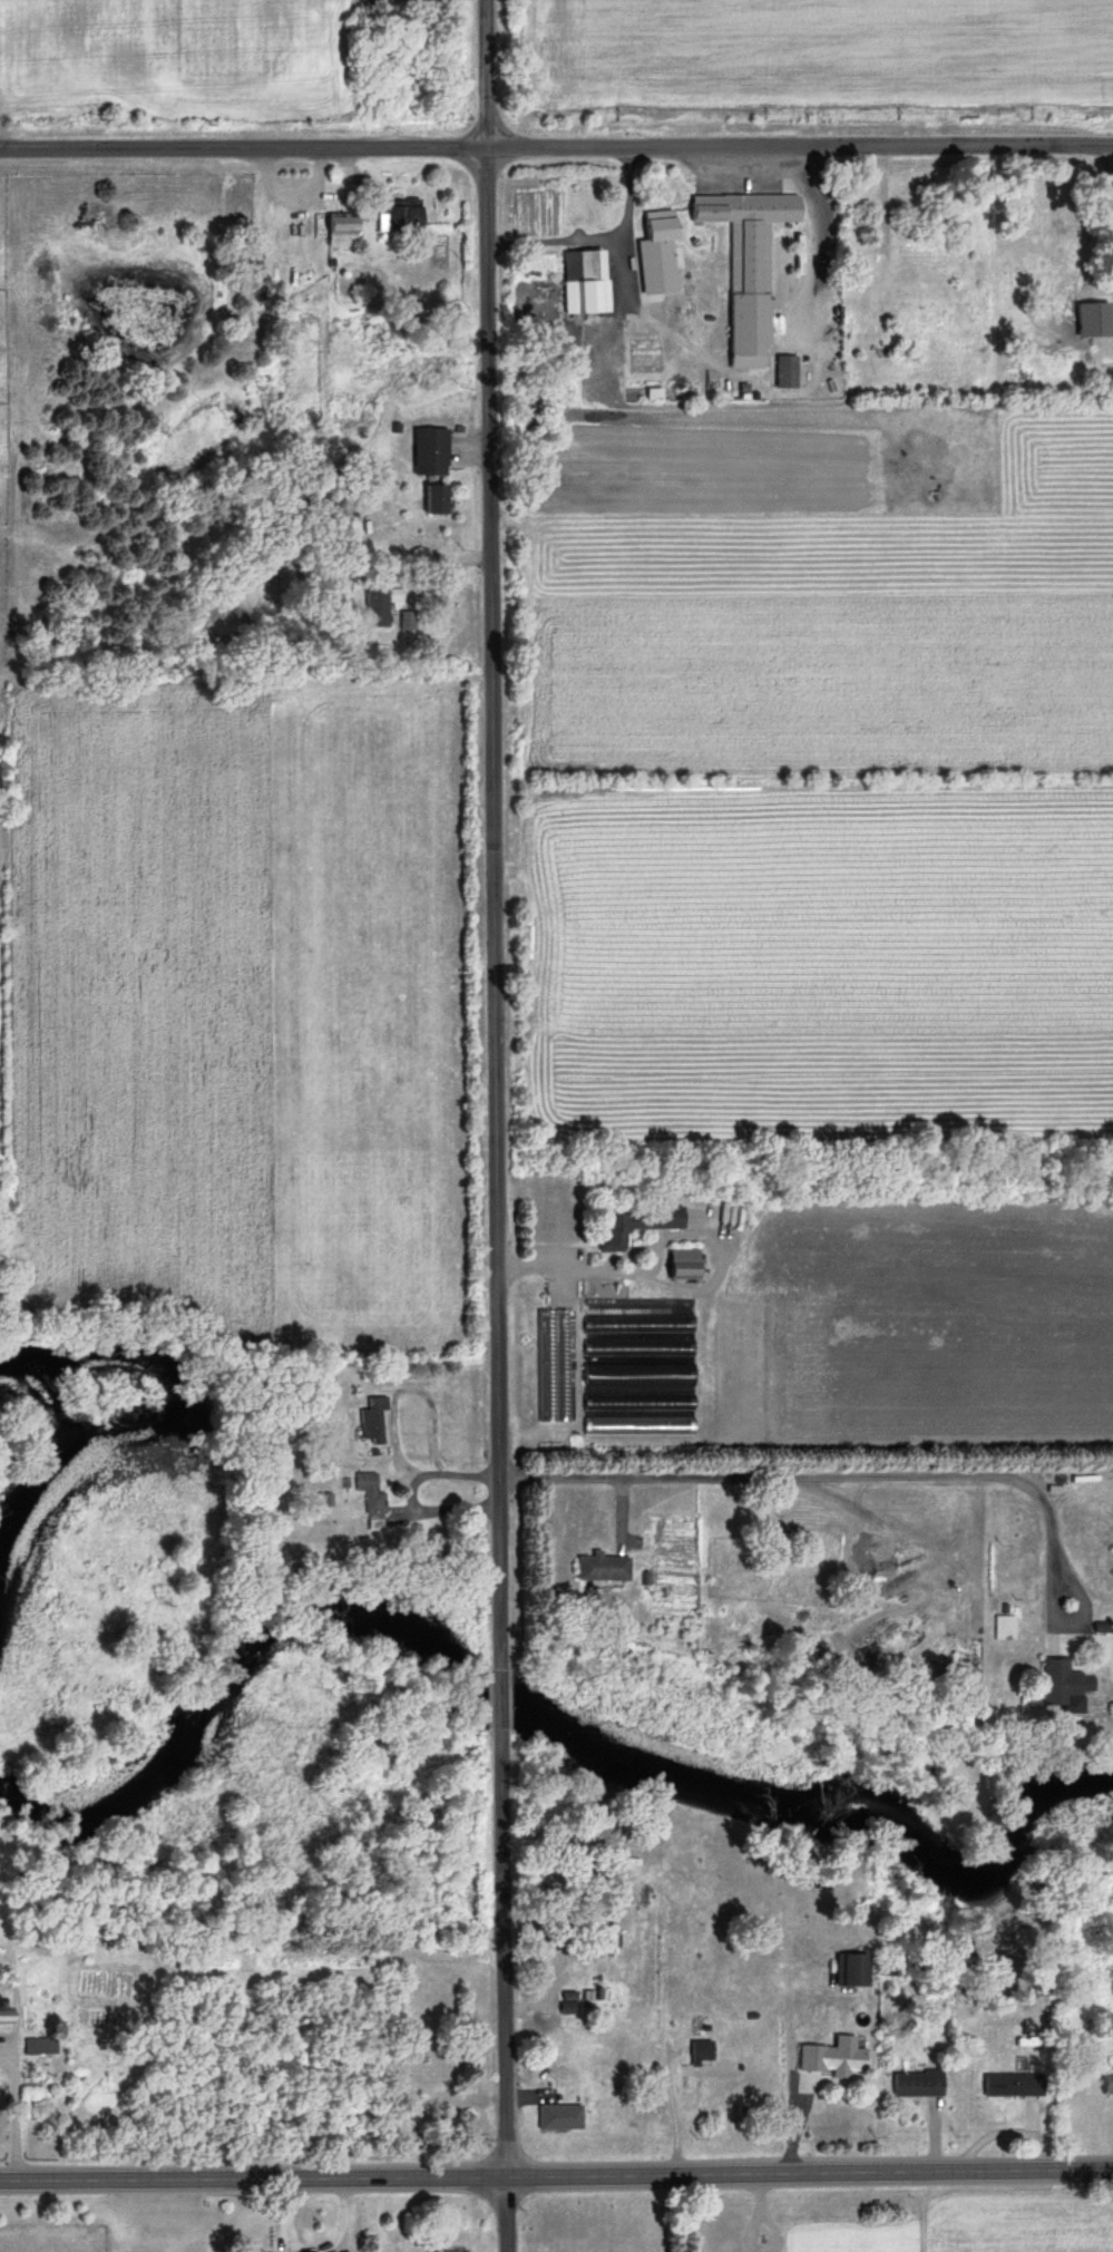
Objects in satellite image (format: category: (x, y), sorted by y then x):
crop: (174, 57)
road: (556, 142)
building: (399, 215)
building: (338, 231)
building: (653, 232)
road: (813, 233)
building: (743, 237)
building: (1112, 261)
building: (582, 282)
building: (742, 355)
building: (782, 372)
building: (428, 451)
building: (430, 499)
building: (374, 608)
building: (404, 621)
road: (487, 831)
building: (625, 1227)
building: (677, 1266)
building: (548, 1367)
building: (634, 1376)
river: (186, 1414)
building: (369, 1423)
road: (627, 1471)
road: (935, 1474)
building: (367, 1497)
road: (1049, 1529)
building: (597, 1570)
building: (999, 1630)
building: (1056, 1684)
road: (499, 1700)
river: (543, 1717)
road: (501, 1957)
building: (849, 1972)
building: (565, 2009)
building: (0, 2012)
building: (831, 2058)
building: (703, 2064)
building: (915, 2085)
building: (1105, 2085)
building: (1008, 2086)
road: (10, 2112)
building: (556, 2119)
road: (556, 2173)
road: (504, 2213)
building: (720, 2231)

